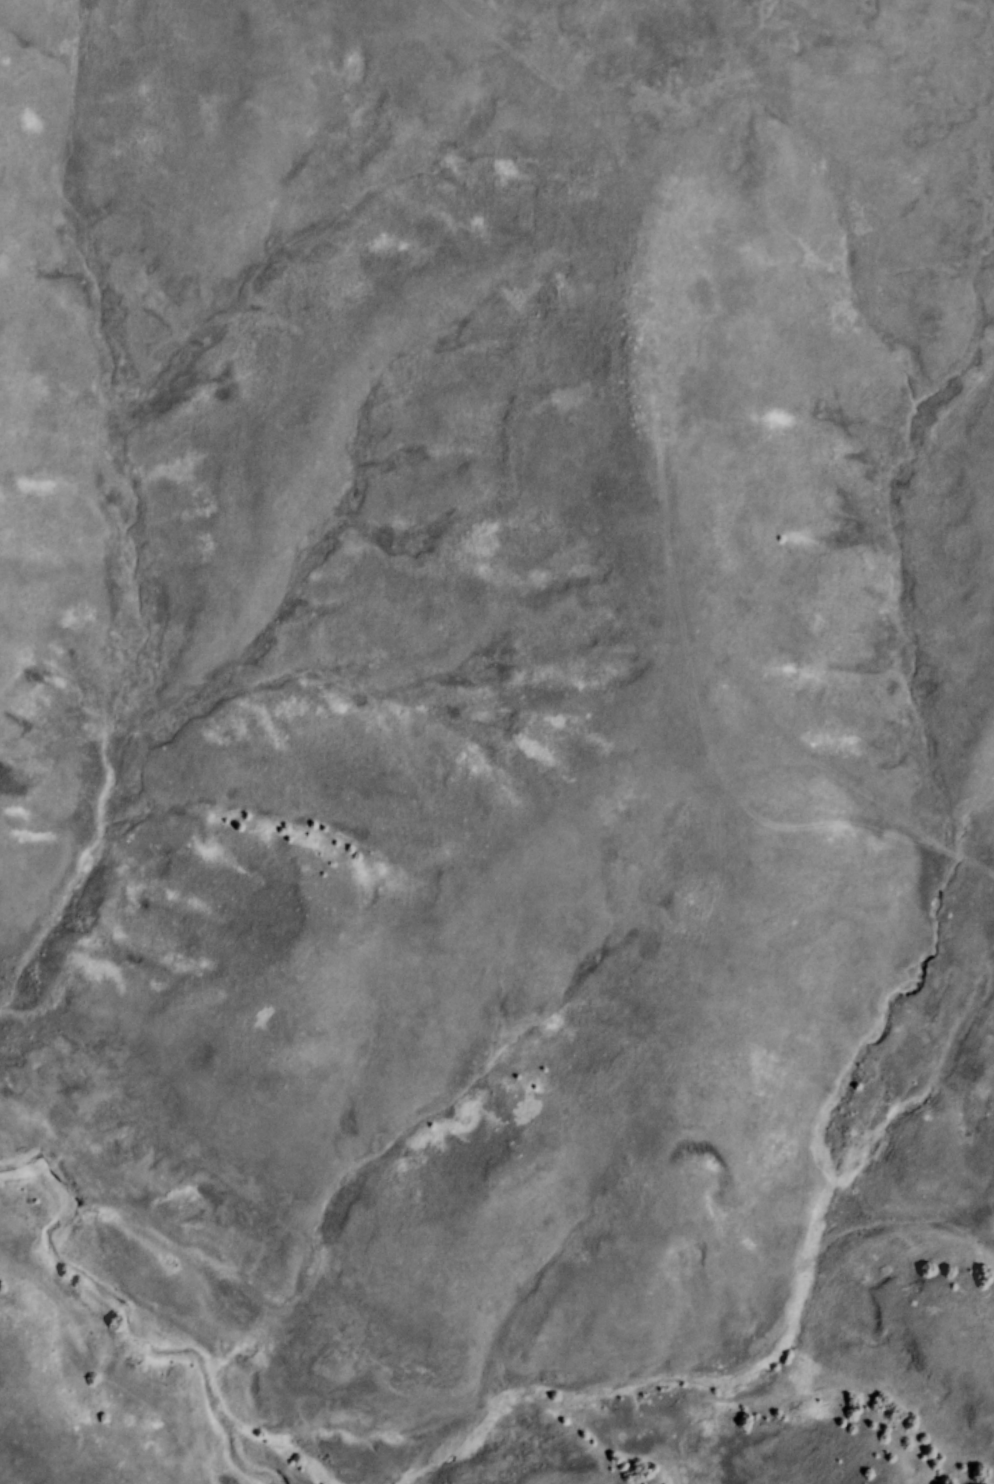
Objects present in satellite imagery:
road: (960, 9)
road: (567, 106)
road: (700, 124)
road: (697, 619)

